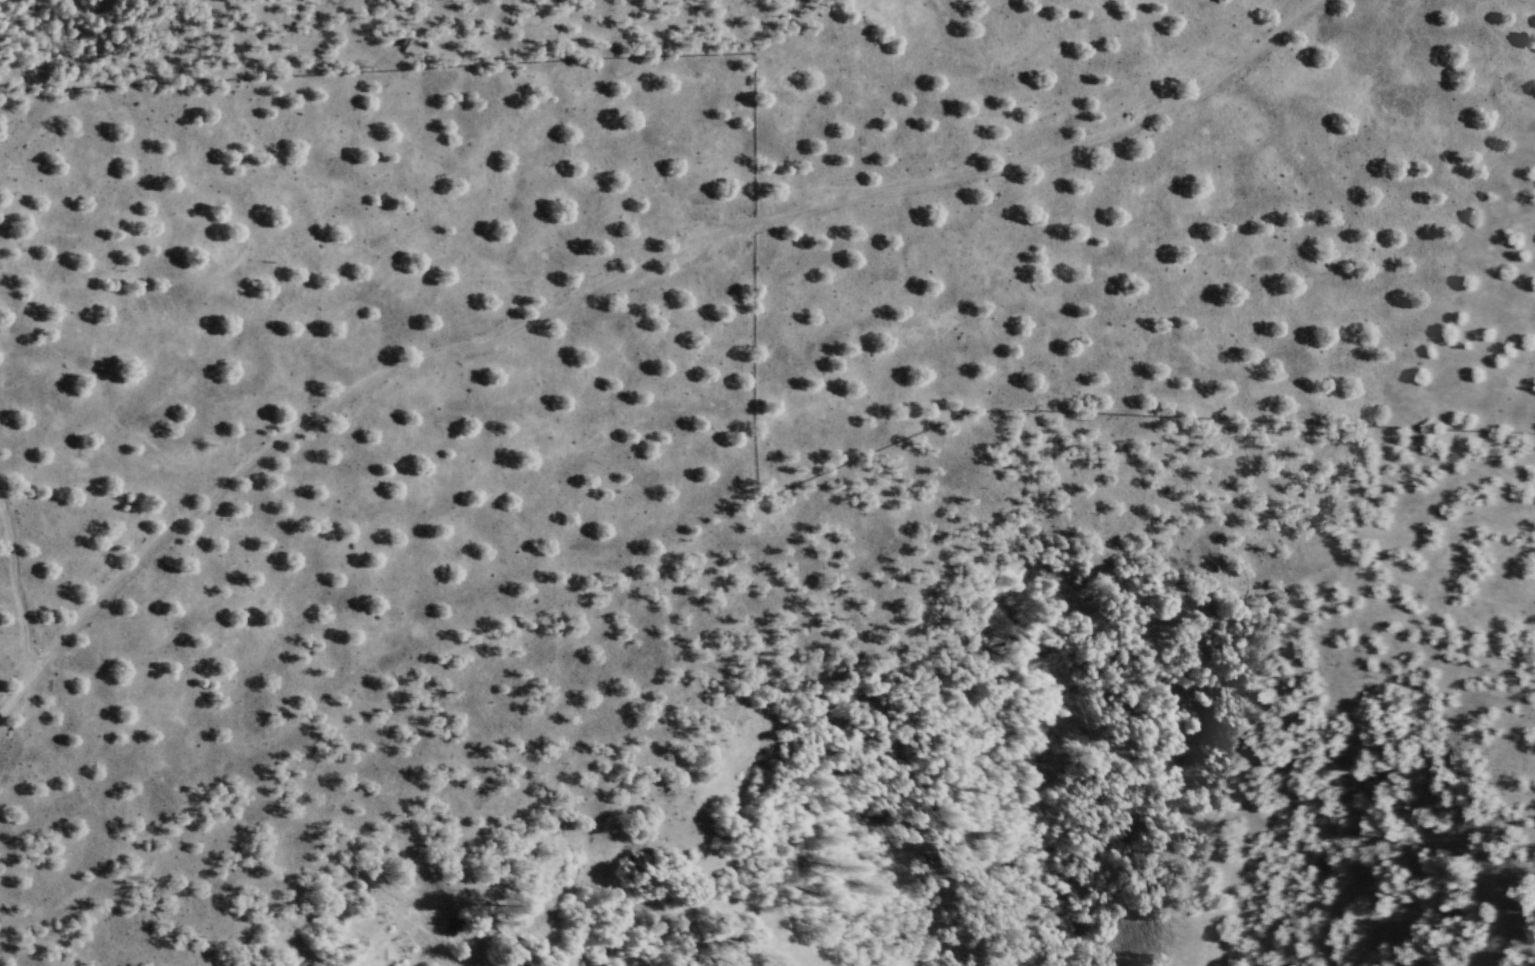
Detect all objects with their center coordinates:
road: (619, 272)
road: (16, 584)
road: (6, 707)

